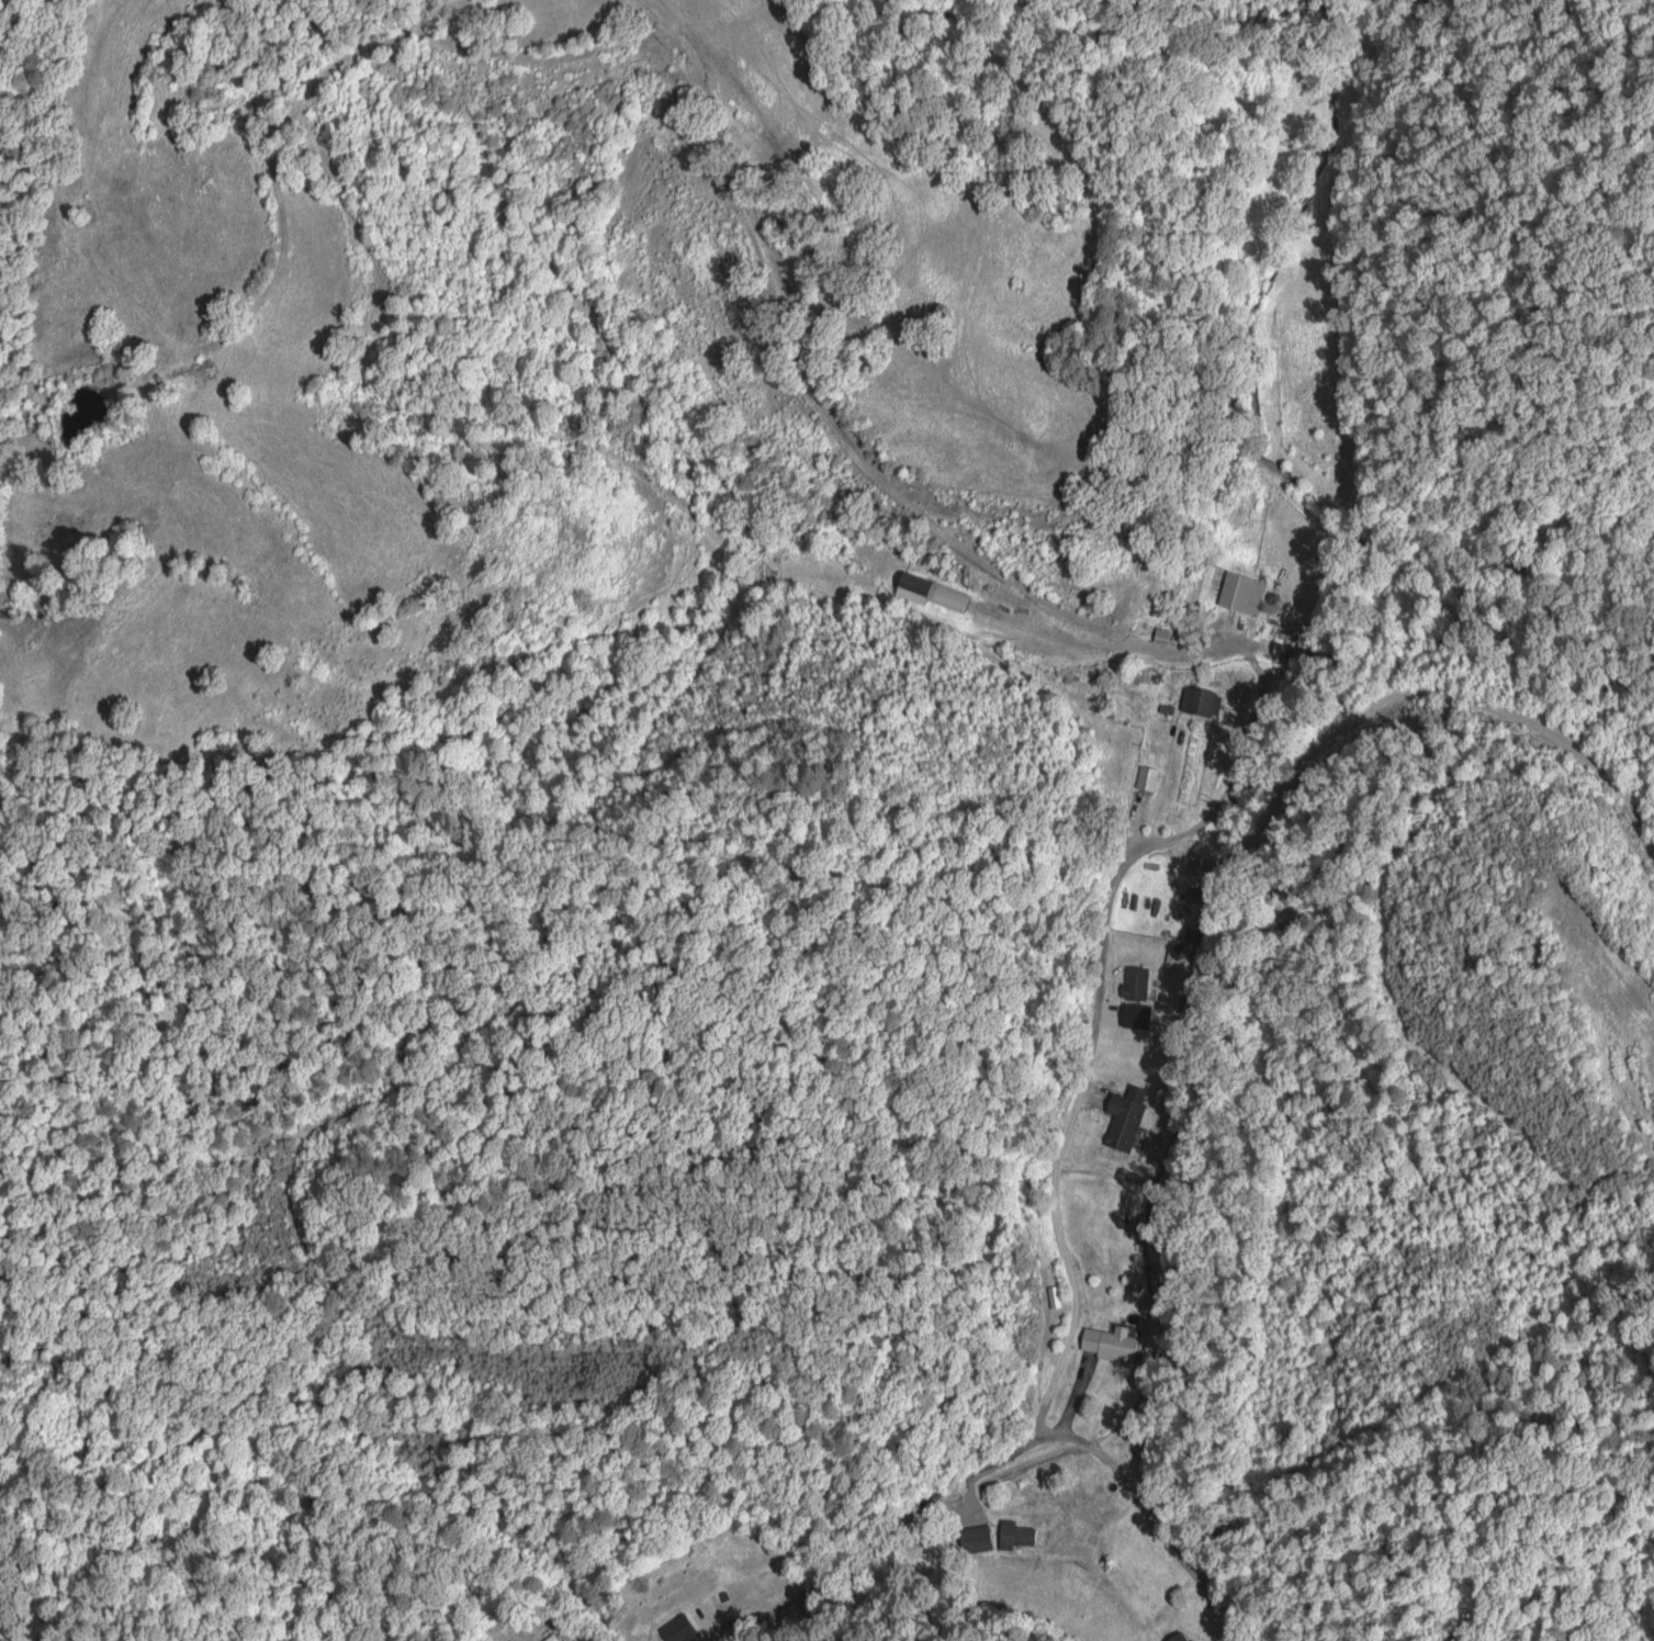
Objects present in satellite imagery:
building: (935, 592)
building: (1240, 593)
building: (1280, 634)
building: (1201, 701)
building: (1147, 777)
building: (1136, 982)
building: (1126, 1116)
road: (1053, 1214)
building: (1054, 1296)
building: (1110, 1342)
road: (1146, 1511)
building: (1016, 1533)
building: (674, 1631)
building: (1180, 1636)
building: (572, 1640)

